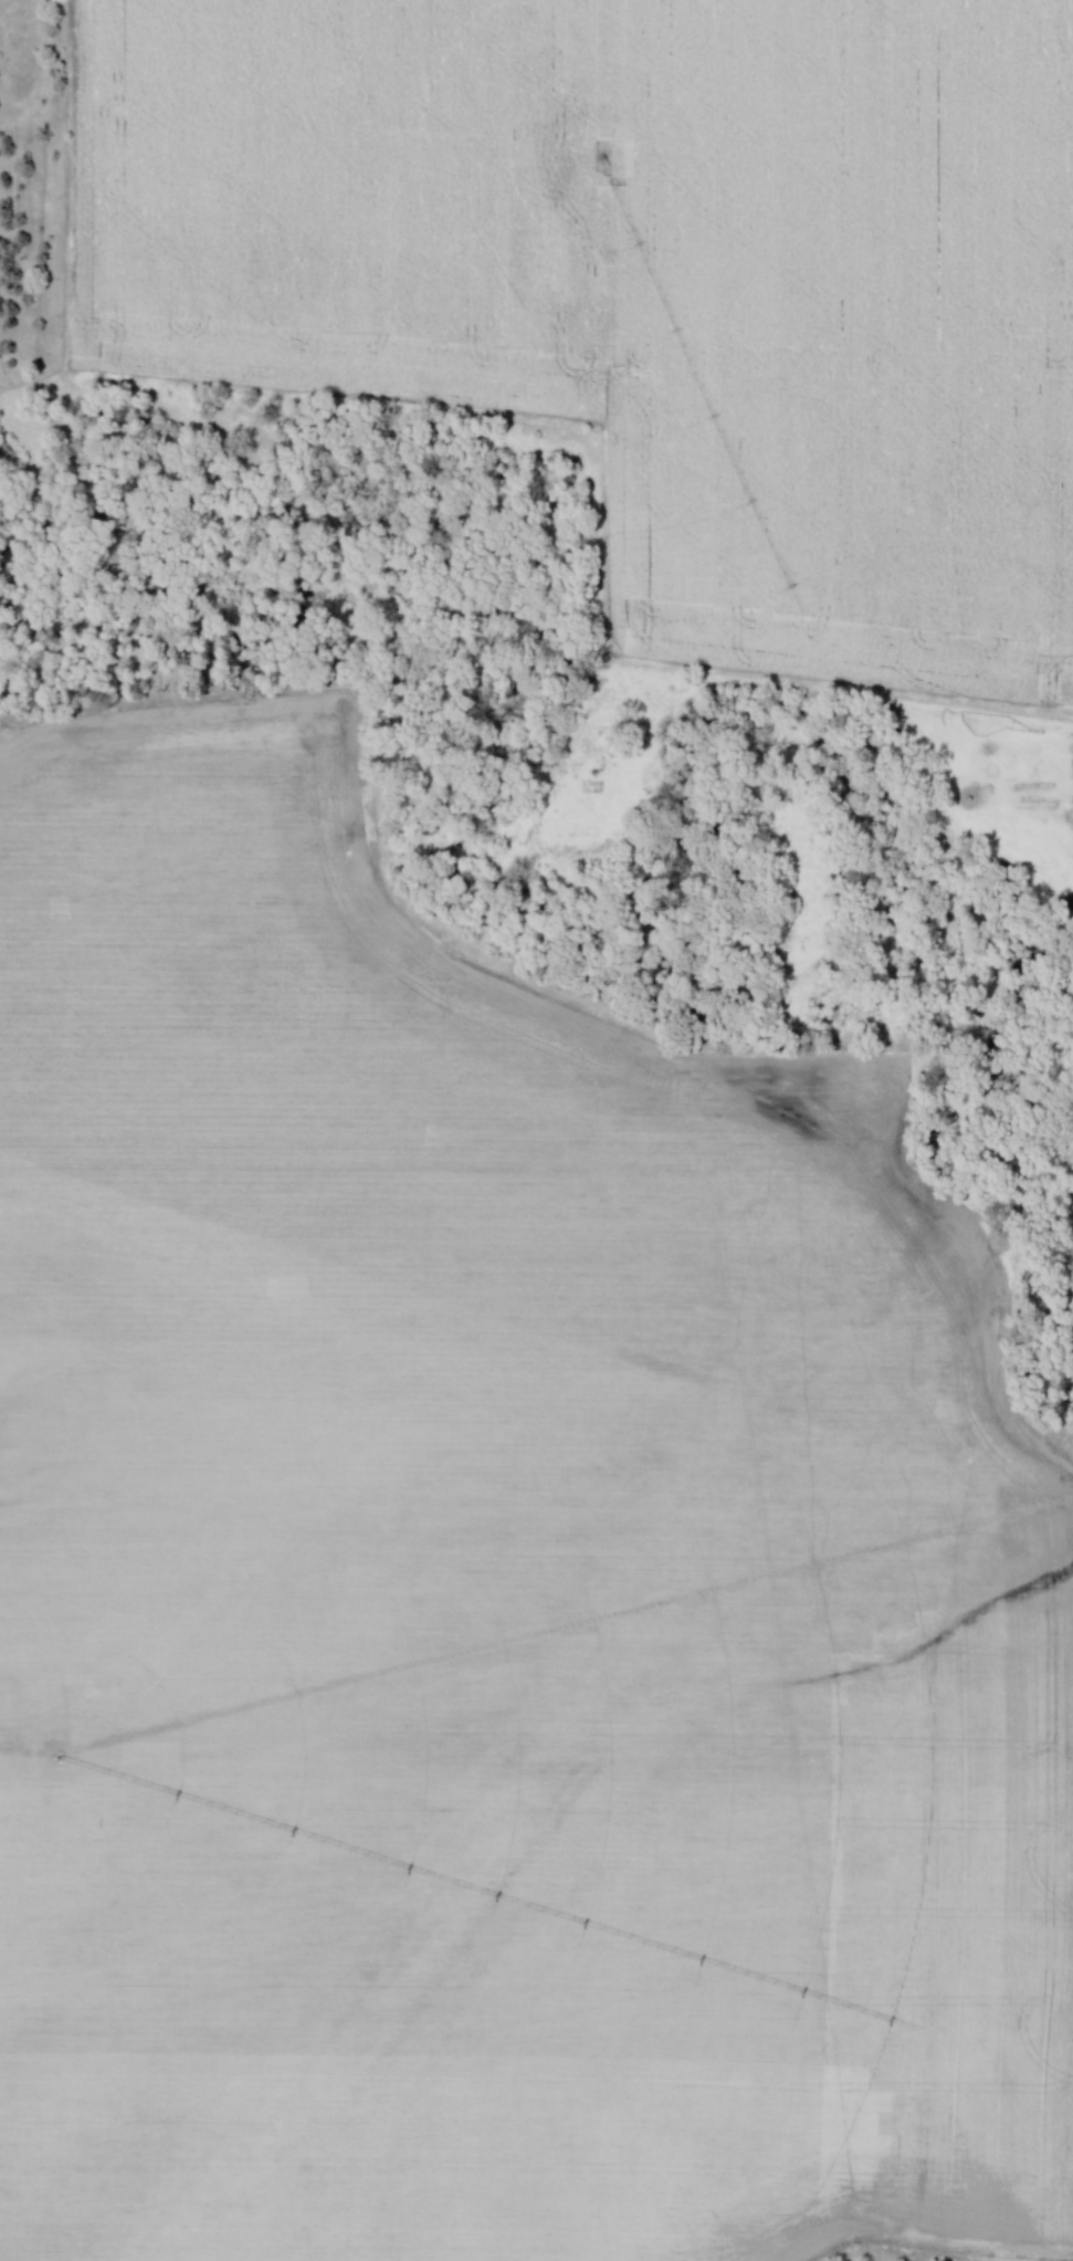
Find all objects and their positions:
building: (988, 765)

